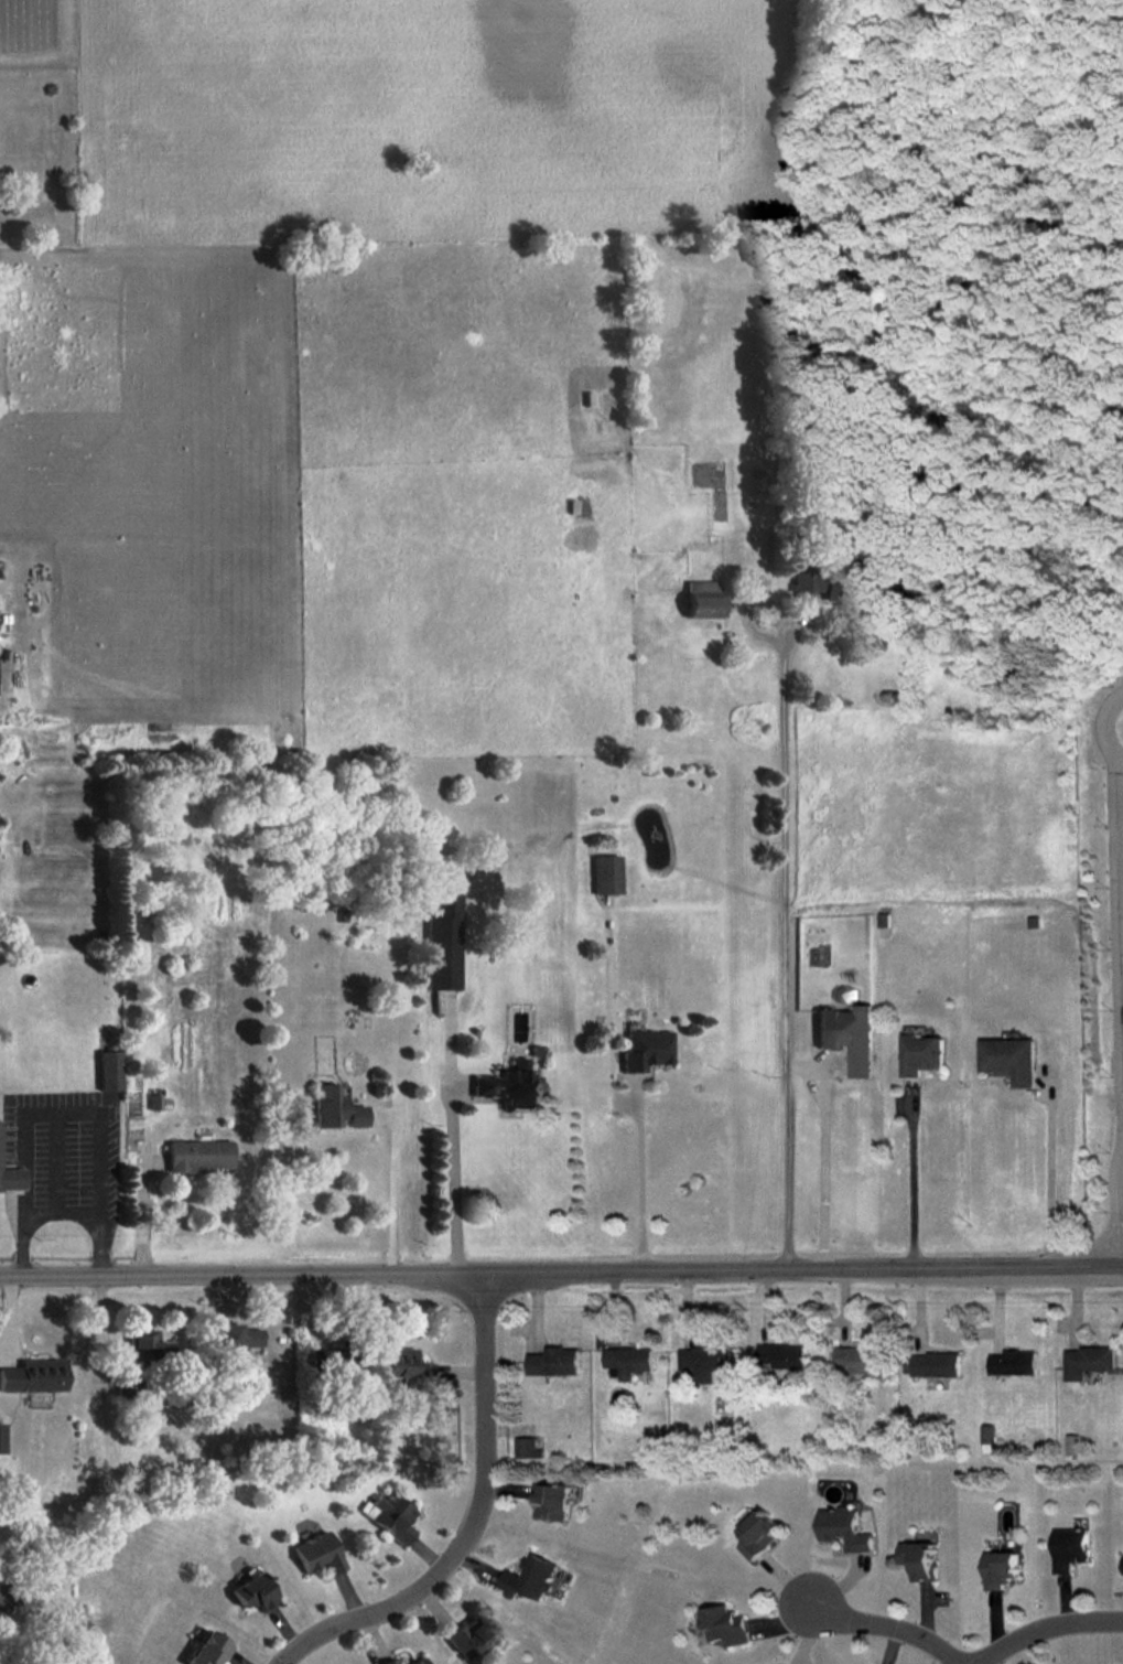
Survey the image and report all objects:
building: (830, 582)
building: (703, 599)
building: (608, 874)
building: (444, 940)
road: (785, 959)
road: (1121, 1021)
building: (849, 1037)
building: (647, 1048)
building: (919, 1054)
building: (1008, 1060)
building: (110, 1070)
building: (511, 1086)
building: (336, 1108)
road: (65, 1112)
building: (199, 1156)
road: (822, 1161)
road: (1048, 1167)
building: (11, 1177)
road: (454, 1177)
road: (638, 1179)
road: (910, 1179)
road: (392, 1189)
road: (62, 1212)
road: (561, 1270)
building: (236, 1336)
building: (147, 1345)
building: (784, 1356)
building: (327, 1359)
building: (861, 1361)
building: (553, 1362)
building: (627, 1362)
building: (704, 1362)
building: (1087, 1362)
building: (1014, 1363)
building: (936, 1365)
building: (407, 1367)
building: (34, 1376)
building: (2, 1438)
building: (1072, 1445)
building: (527, 1450)
building: (552, 1500)
building: (391, 1515)
road: (473, 1521)
building: (843, 1528)
building: (759, 1534)
building: (1069, 1549)
building: (320, 1553)
building: (919, 1559)
building: (1122, 1566)
building: (1000, 1568)
building: (528, 1579)
building: (255, 1593)
building: (13, 1597)
building: (725, 1627)
road: (879, 1627)
road: (1045, 1629)
building: (210, 1650)

